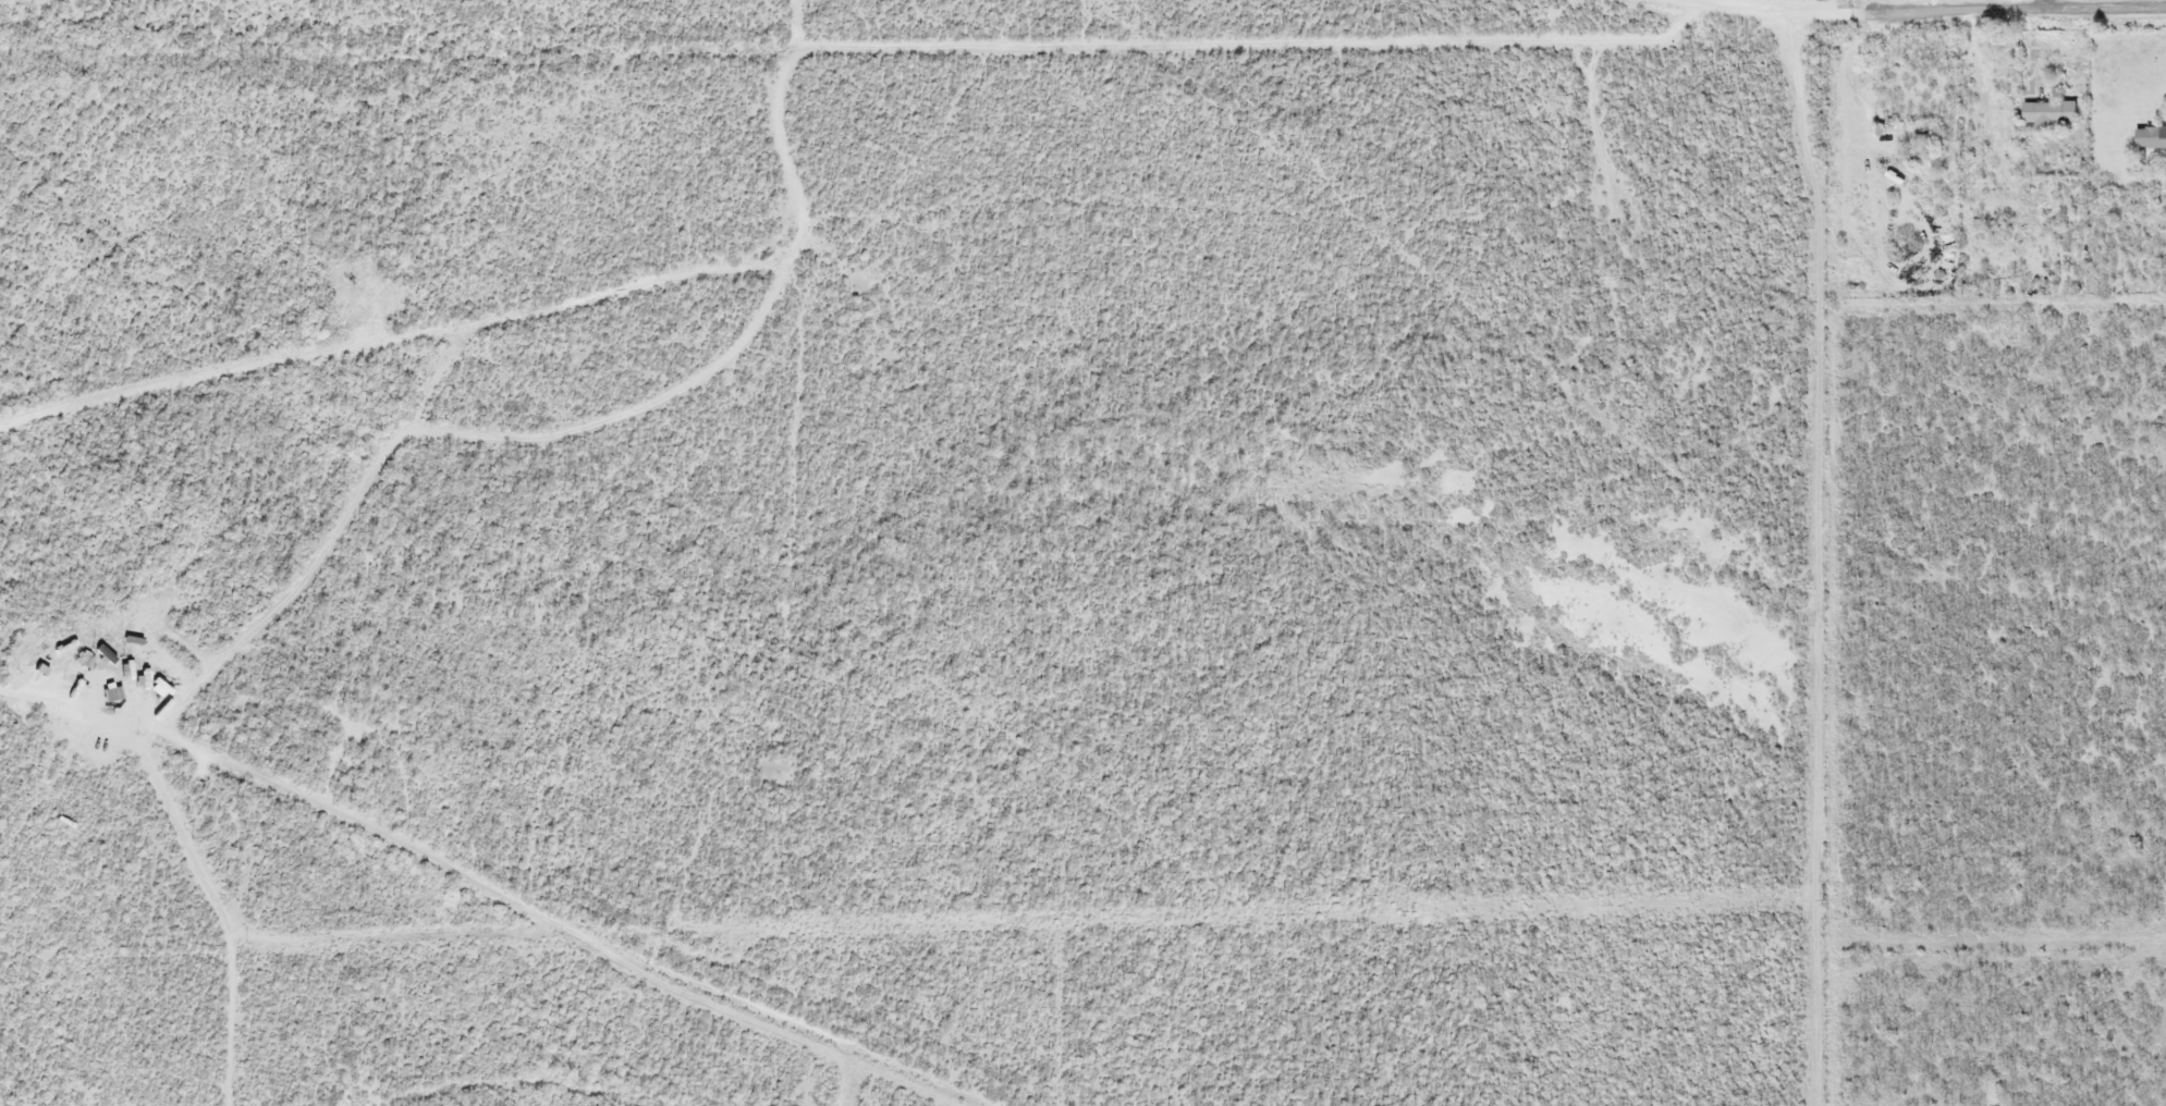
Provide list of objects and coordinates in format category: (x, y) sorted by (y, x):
road: (1767, 7)
road: (2009, 10)
building: (2049, 113)
building: (2151, 136)
building: (1930, 160)
road: (543, 437)

